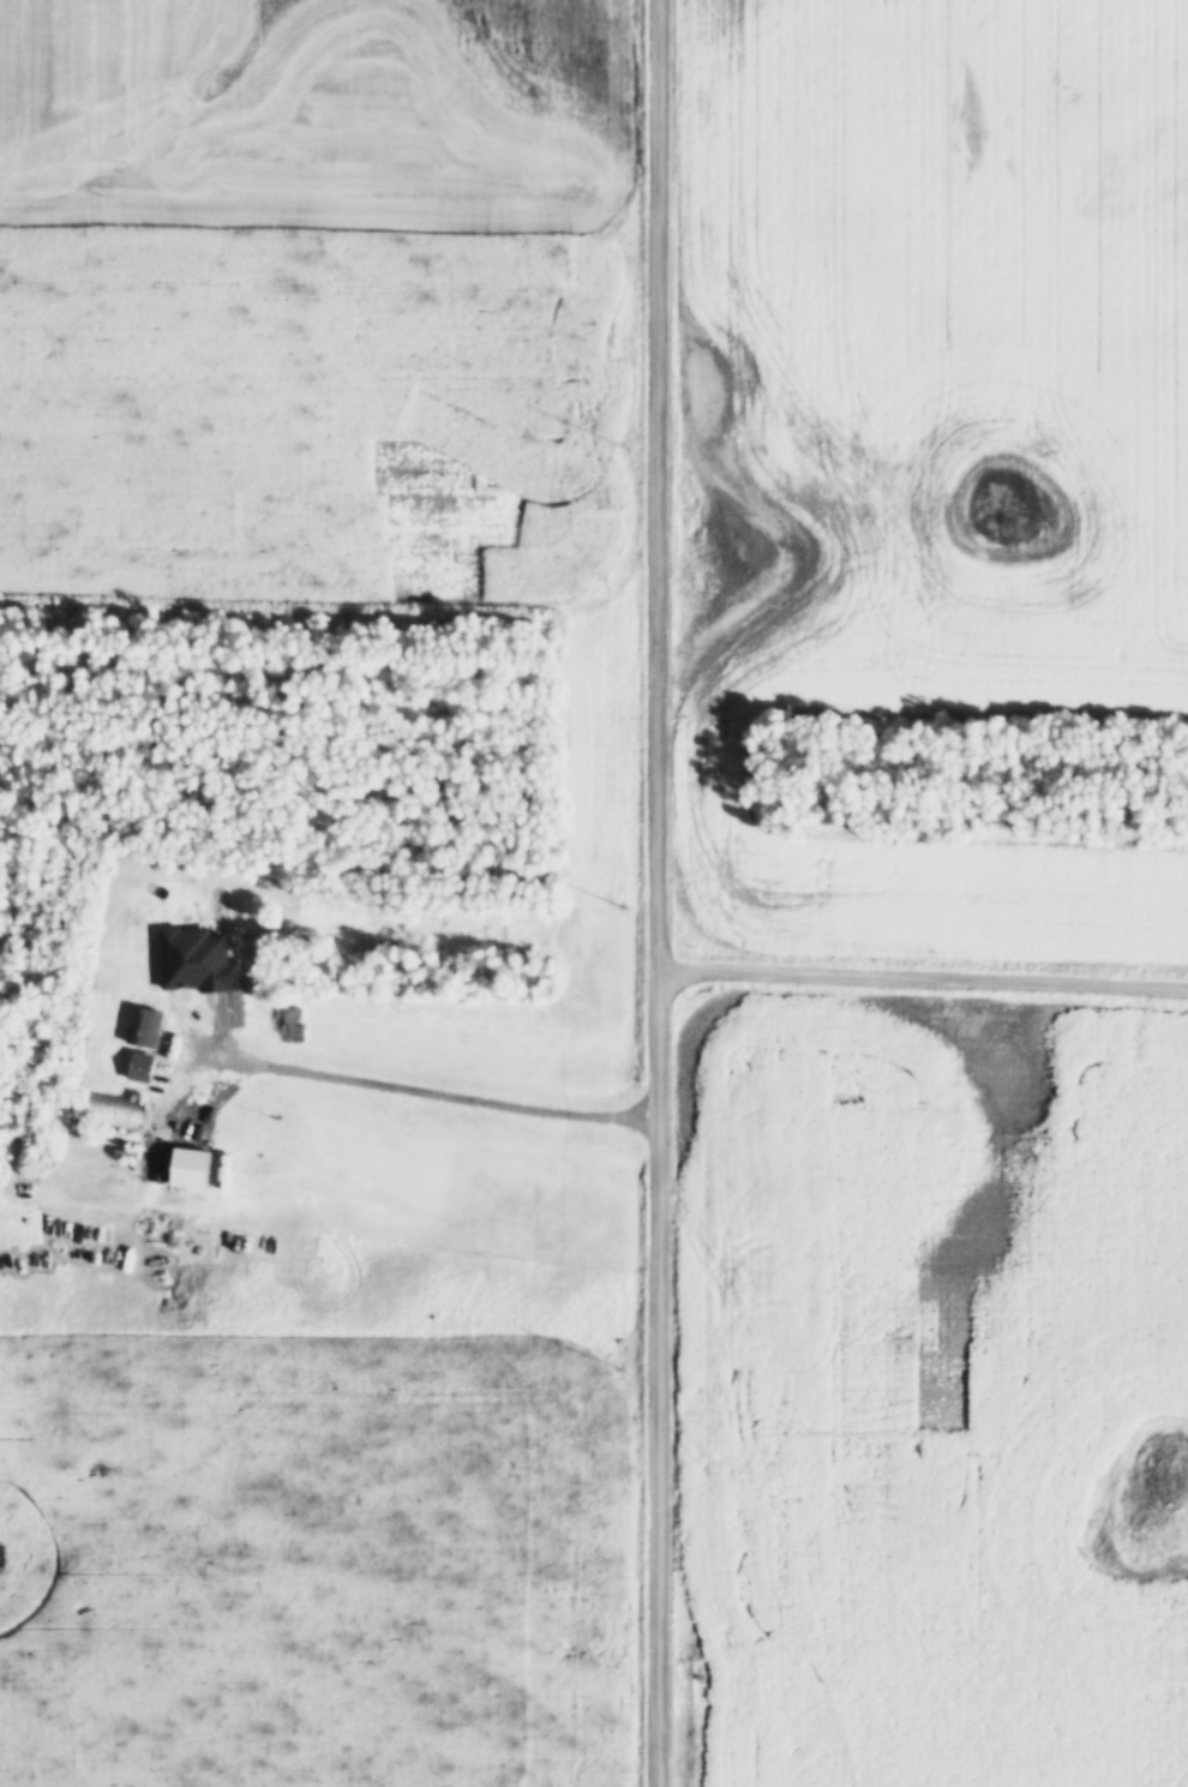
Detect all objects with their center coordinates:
road: (655, 893)
building: (196, 955)
road: (922, 982)
building: (142, 1023)
building: (137, 1061)
road: (416, 1095)
building: (106, 1108)
building: (187, 1164)

